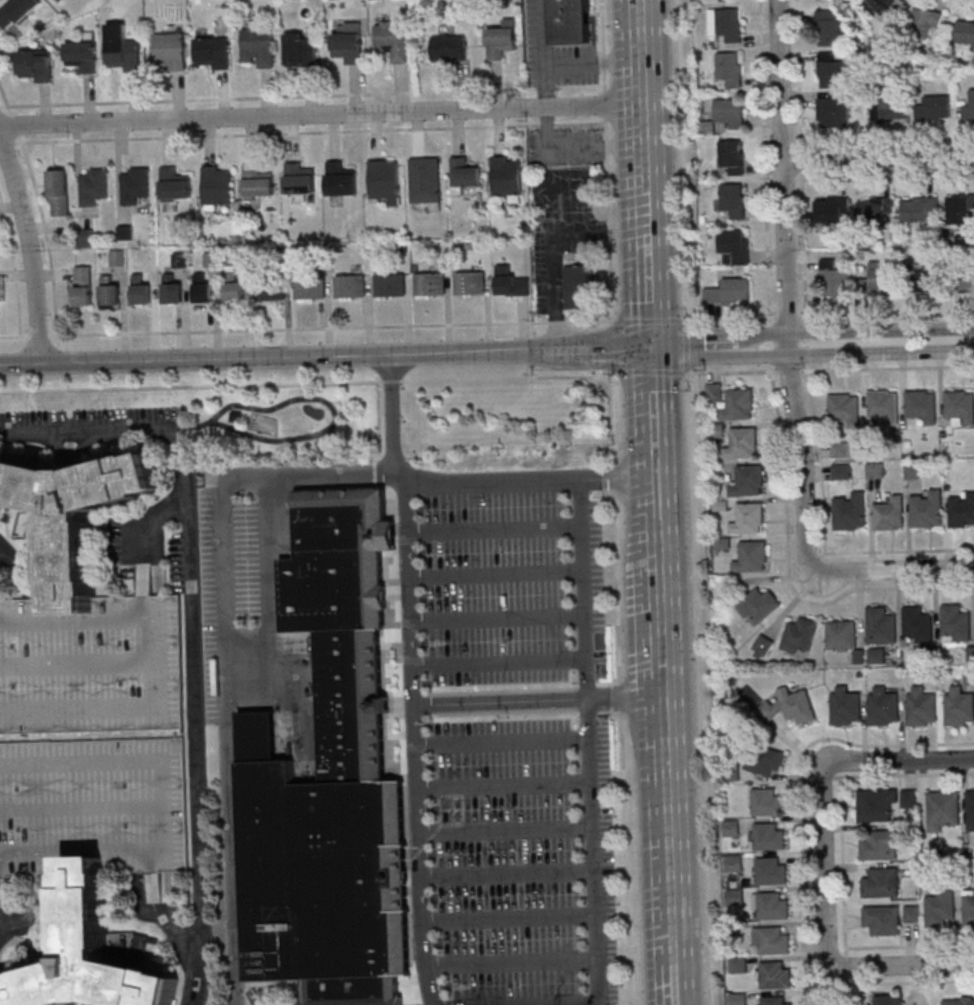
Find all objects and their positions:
building: (62, 0)
building: (886, 7)
building: (16, 12)
building: (570, 21)
building: (924, 23)
building: (726, 24)
building: (829, 27)
building: (965, 33)
building: (502, 39)
building: (392, 40)
building: (349, 42)
building: (257, 46)
building: (449, 47)
building: (300, 49)
building: (170, 50)
building: (213, 52)
road: (543, 53)
building: (124, 54)
building: (82, 55)
road: (594, 64)
building: (36, 65)
building: (729, 68)
building: (830, 70)
road: (645, 94)
road: (210, 100)
building: (933, 108)
building: (968, 108)
building: (888, 109)
building: (833, 110)
building: (730, 112)
road: (322, 114)
road: (379, 130)
road: (575, 147)
building: (732, 155)
road: (878, 156)
building: (464, 176)
building: (299, 177)
building: (505, 177)
building: (340, 178)
building: (424, 180)
building: (256, 181)
building: (384, 181)
building: (174, 184)
building: (217, 184)
building: (135, 185)
building: (93, 186)
building: (59, 192)
building: (875, 207)
building: (918, 207)
building: (959, 208)
road: (648, 209)
building: (831, 210)
building: (85, 238)
road: (551, 242)
building: (734, 246)
road: (30, 250)
building: (180, 259)
building: (212, 259)
building: (964, 273)
building: (922, 278)
building: (834, 280)
building: (879, 280)
building: (512, 282)
building: (470, 283)
building: (390, 284)
building: (82, 285)
building: (351, 285)
building: (430, 285)
road: (785, 285)
building: (581, 286)
building: (270, 287)
building: (310, 287)
building: (172, 289)
building: (203, 289)
building: (234, 289)
road: (649, 289)
building: (110, 290)
building: (141, 290)
building: (729, 292)
road: (486, 322)
road: (859, 330)
road: (700, 346)
traffic signals: (650, 348)
road: (861, 350)
road: (325, 356)
road: (304, 383)
building: (739, 404)
building: (883, 405)
building: (921, 405)
building: (960, 405)
building: (843, 409)
road: (652, 410)
building: (743, 443)
building: (840, 449)
building: (875, 470)
building: (840, 471)
building: (913, 472)
road: (784, 473)
road: (307, 477)
building: (748, 481)
road: (467, 483)
road: (656, 493)
road: (691, 502)
building: (927, 510)
building: (961, 511)
building: (850, 512)
building: (890, 513)
road: (148, 518)
building: (749, 518)
road: (10, 557)
building: (752, 557)
road: (582, 566)
road: (892, 571)
road: (408, 587)
building: (758, 605)
building: (955, 622)
building: (917, 623)
building: (880, 626)
road: (190, 629)
building: (800, 635)
building: (841, 635)
building: (762, 646)
building: (876, 656)
road: (520, 657)
building: (969, 676)
road: (620, 685)
road: (537, 699)
building: (790, 706)
building: (883, 706)
building: (958, 706)
building: (845, 707)
building: (921, 707)
building: (89, 733)
road: (228, 744)
road: (663, 759)
road: (898, 759)
building: (763, 760)
building: (327, 778)
road: (801, 789)
road: (838, 794)
building: (909, 799)
building: (766, 802)
building: (876, 805)
building: (942, 809)
building: (970, 810)
building: (732, 827)
road: (506, 828)
building: (768, 836)
building: (881, 845)
road: (421, 854)
building: (734, 863)
building: (770, 871)
road: (508, 875)
building: (881, 882)
road: (824, 884)
road: (594, 896)
building: (771, 906)
building: (940, 908)
building: (969, 908)
building: (912, 913)
building: (882, 919)
building: (773, 941)
road: (880, 947)
road: (900, 964)
building: (774, 976)
road: (910, 983)
building: (738, 999)
building: (888, 1000)
building: (773, 1001)
building: (958, 1001)

